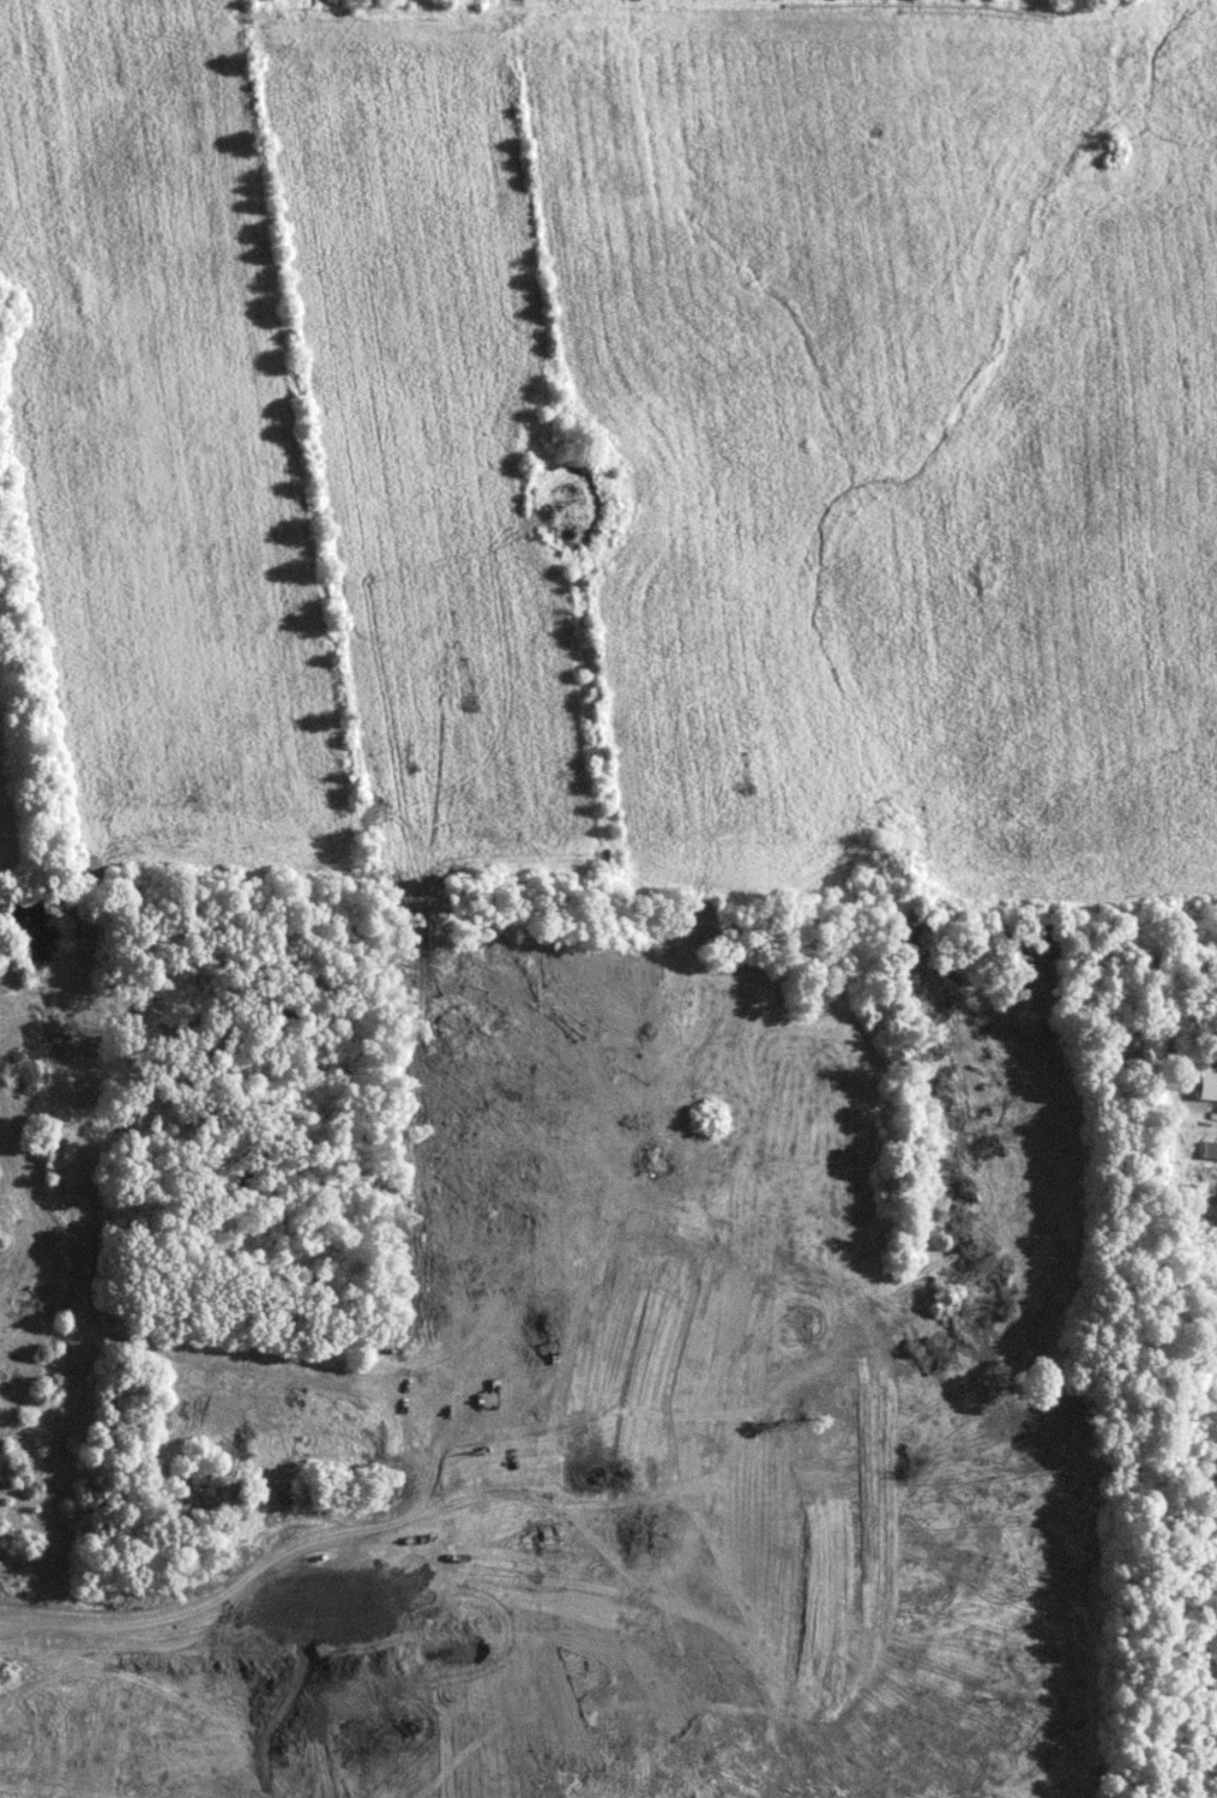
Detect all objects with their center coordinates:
crop: (163, 443)
building: (1206, 1087)
building: (1210, 1150)

